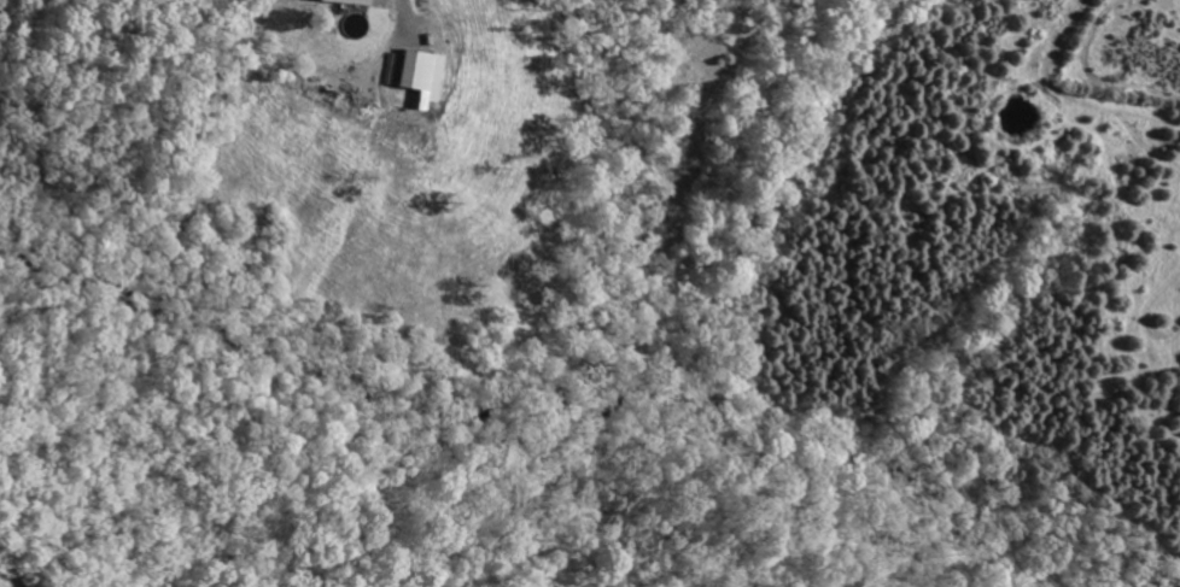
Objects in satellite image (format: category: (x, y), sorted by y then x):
building: (344, 1)
building: (419, 76)

